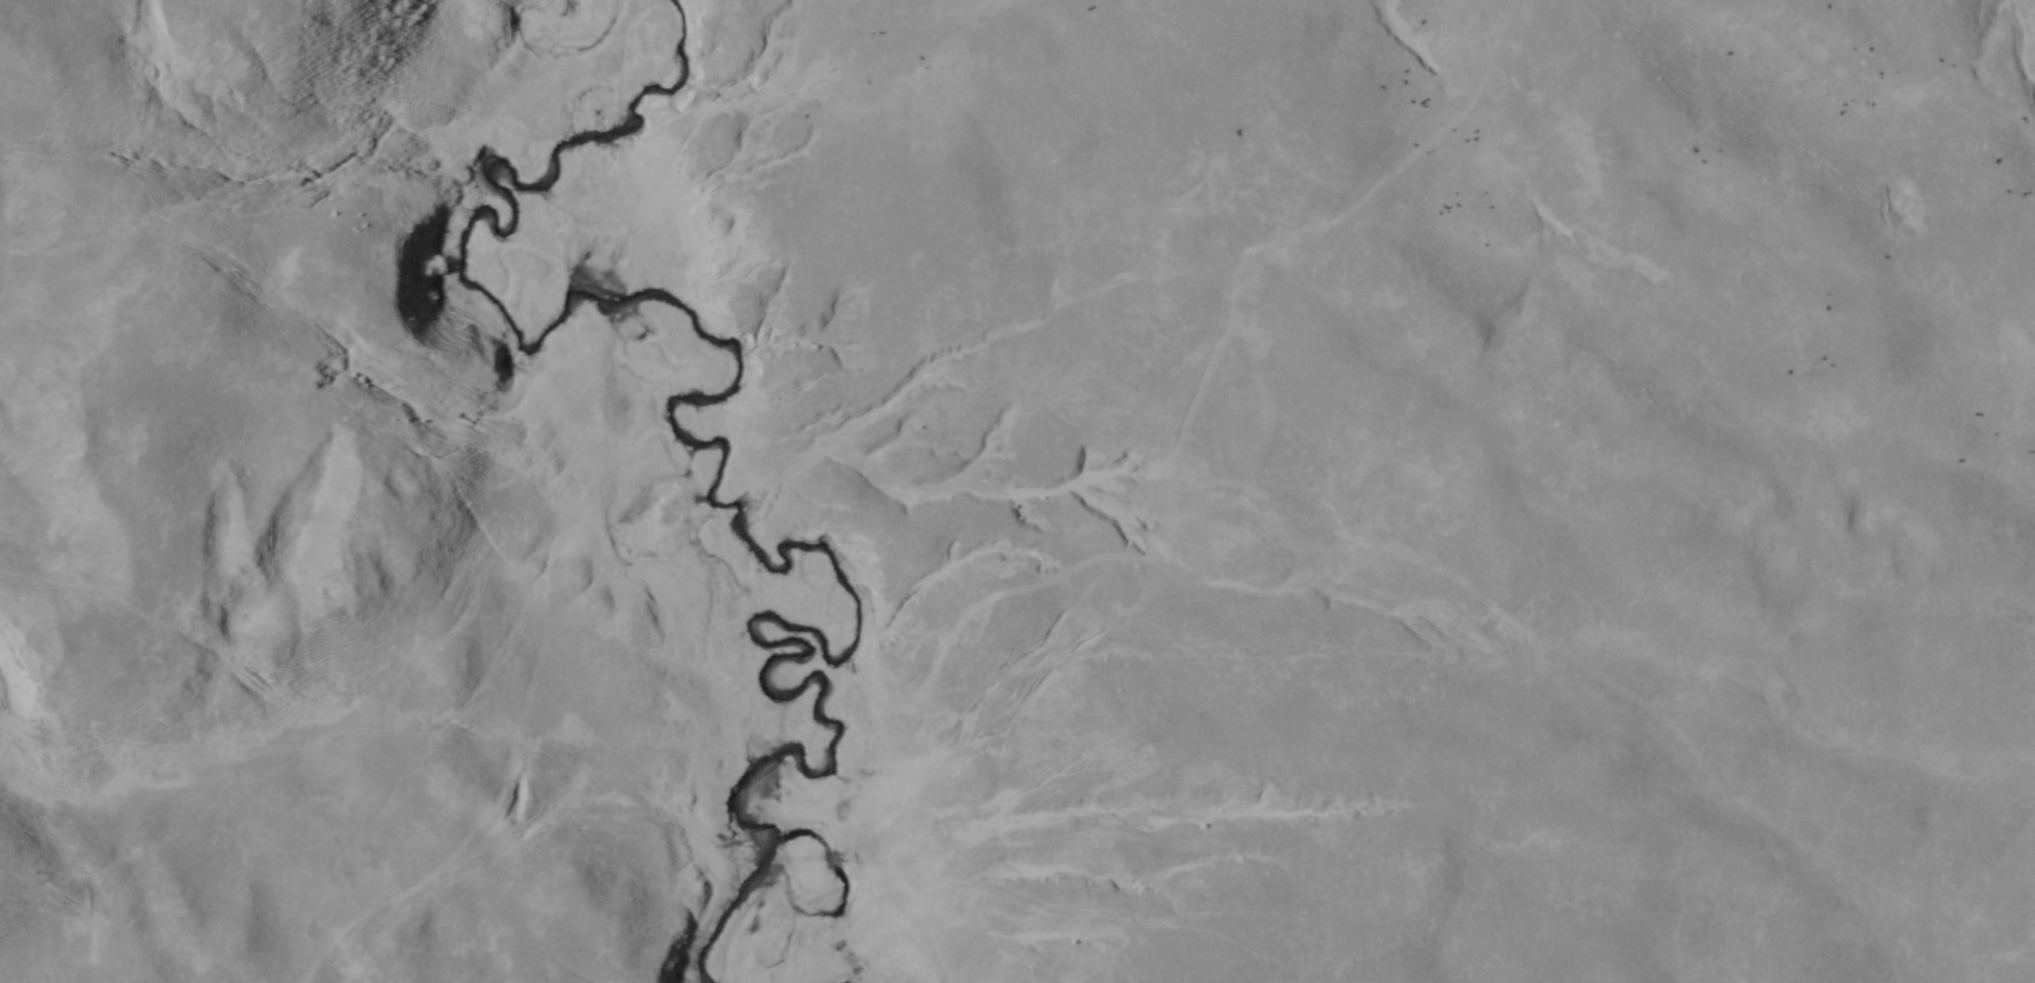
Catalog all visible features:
river: (451, 259)
river: (833, 608)

